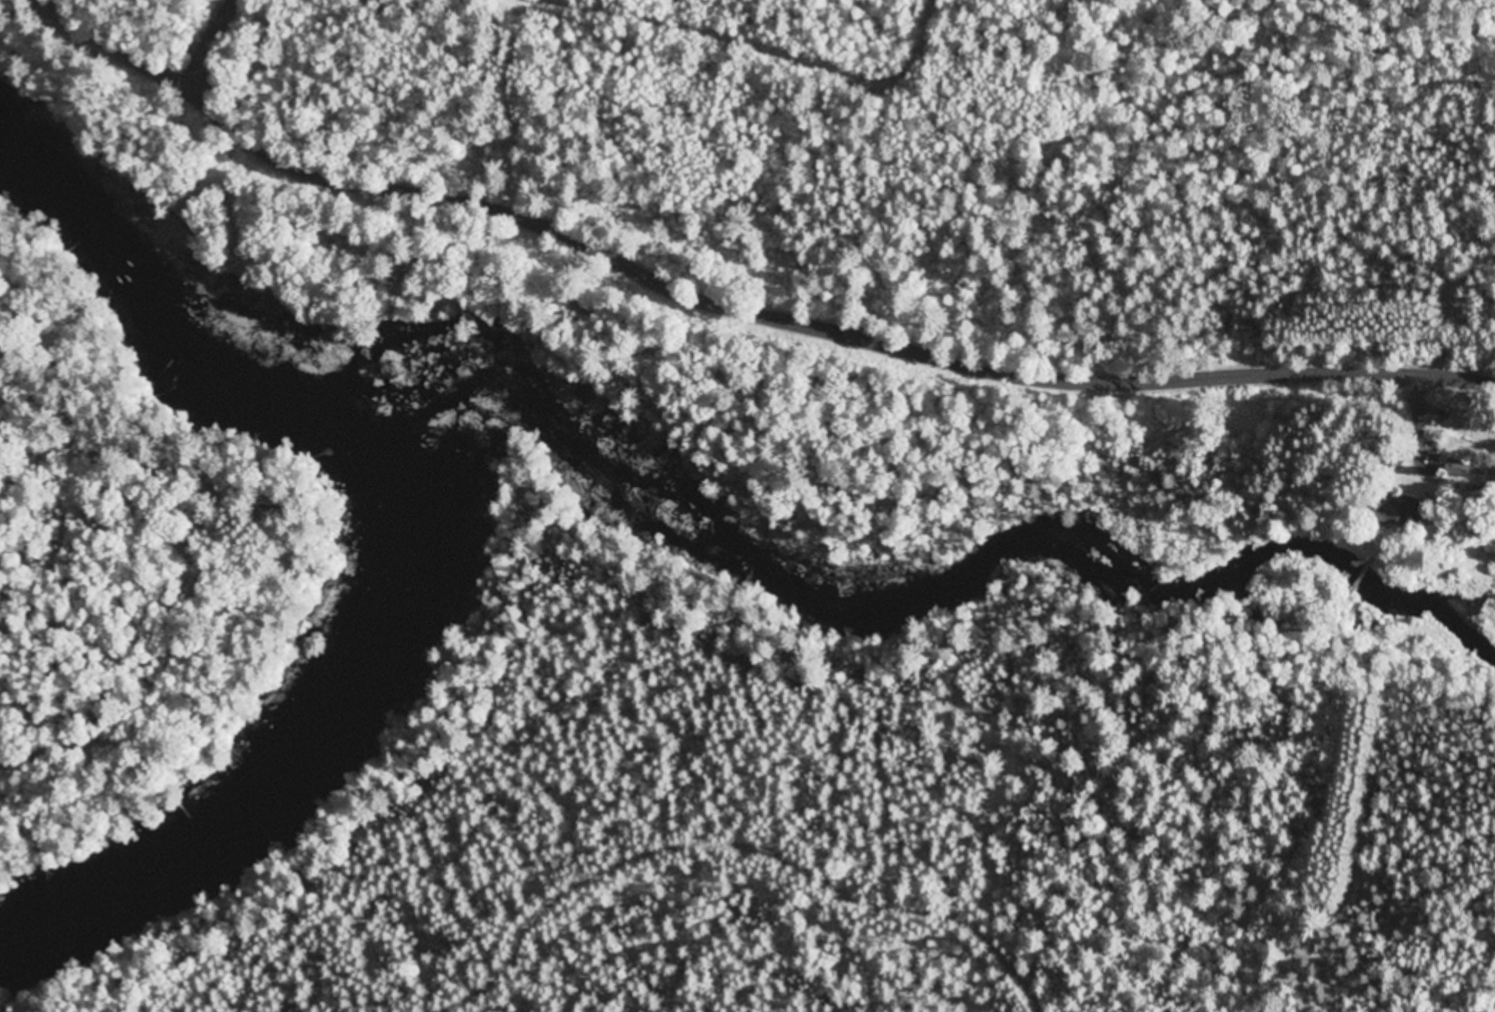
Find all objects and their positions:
road: (216, 46)
road: (126, 47)
river: (192, 299)
road: (822, 326)
building: (1390, 456)
building: (1466, 467)
building: (214, 484)
building: (1397, 512)
building: (180, 541)
river: (284, 732)

